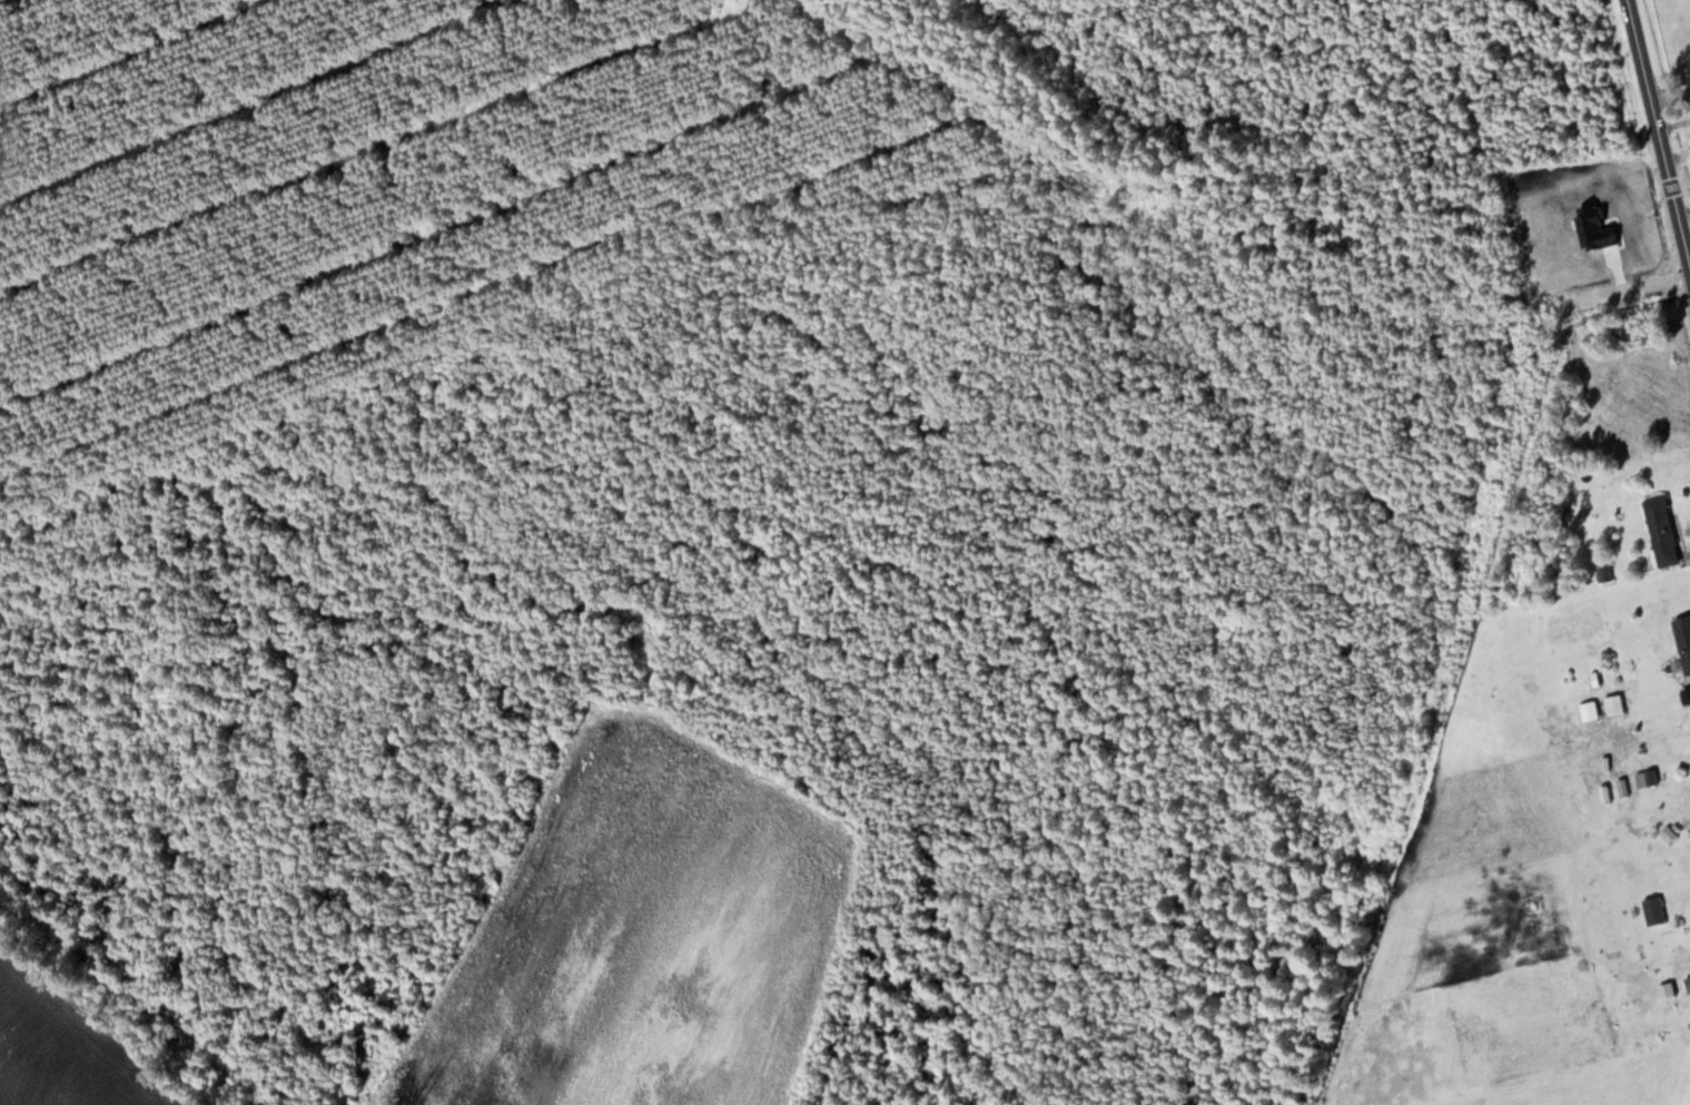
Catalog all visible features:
road: (1670, 95)
road: (1658, 130)
building: (1660, 536)
building: (1682, 641)
building: (1613, 703)
building: (1588, 709)
building: (1658, 864)
building: (1651, 909)
building: (1687, 983)

